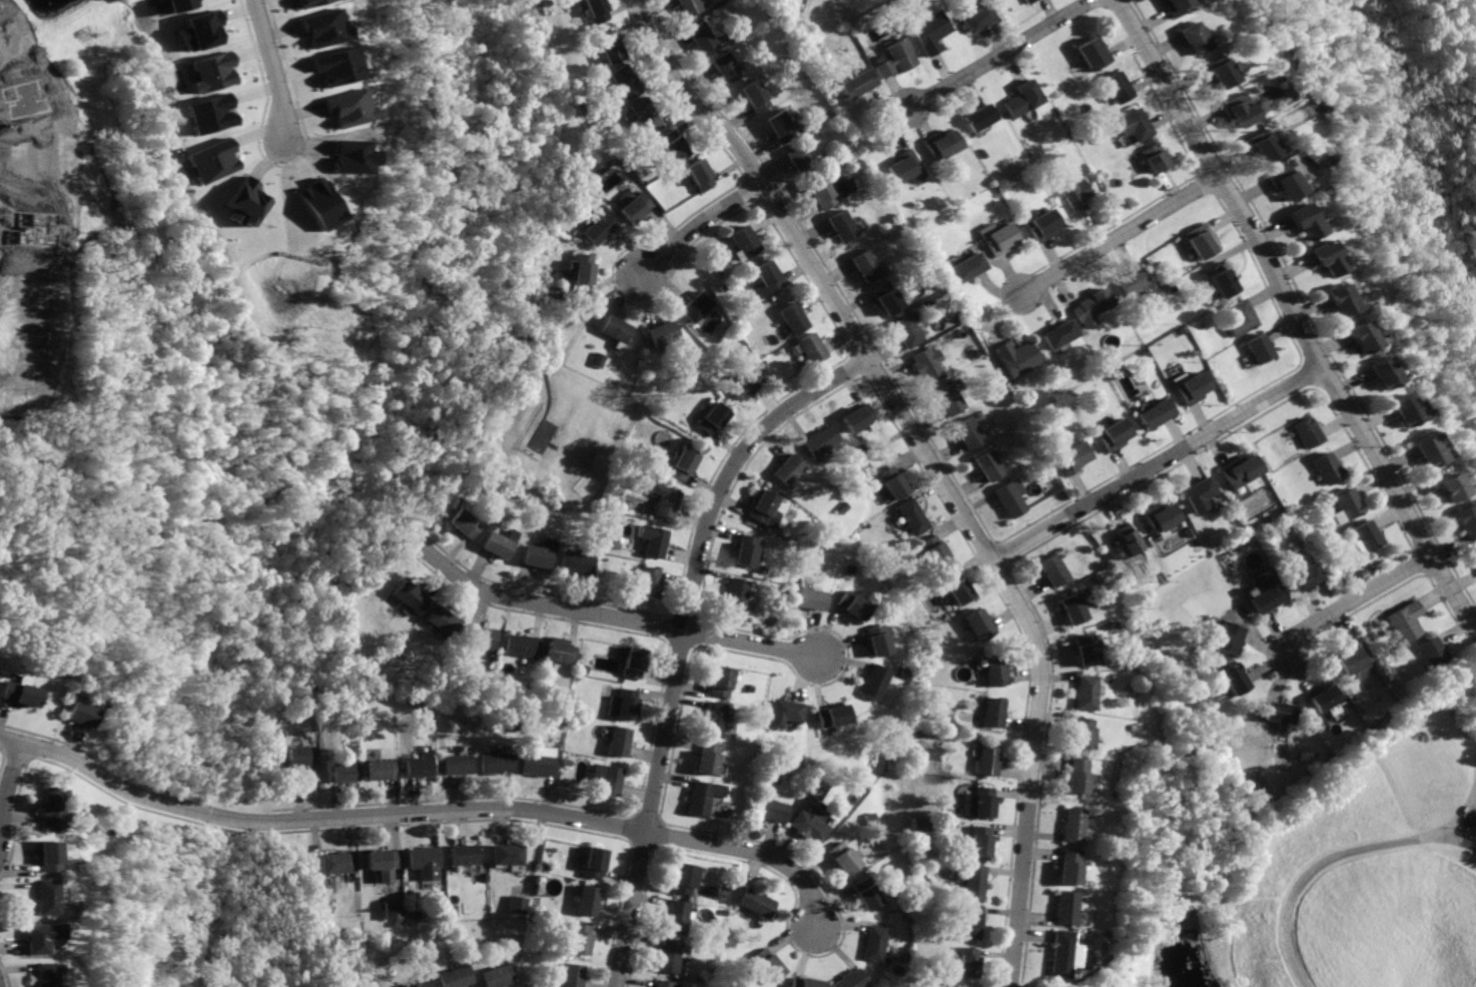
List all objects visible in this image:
building: (1033, 0)
building: (162, 1)
building: (295, 2)
building: (692, 8)
building: (1172, 8)
building: (594, 11)
building: (975, 19)
building: (319, 28)
building: (200, 30)
building: (925, 32)
building: (704, 37)
building: (1190, 39)
road: (1119, 41)
road: (1103, 42)
building: (609, 49)
road: (1000, 53)
building: (1093, 53)
building: (895, 61)
building: (333, 66)
road: (270, 68)
building: (729, 68)
building: (213, 72)
building: (1214, 72)
building: (626, 83)
building: (857, 84)
building: (1116, 89)
road: (672, 95)
building: (757, 98)
building: (1021, 99)
road: (1159, 106)
building: (344, 107)
building: (1235, 111)
building: (213, 113)
building: (648, 116)
building: (977, 118)
building: (1133, 125)
building: (782, 127)
building: (939, 145)
building: (673, 147)
building: (1258, 148)
building: (1155, 159)
building: (803, 161)
building: (207, 163)
building: (906, 169)
building: (701, 176)
road: (741, 179)
building: (1279, 182)
road: (1205, 184)
road: (747, 190)
building: (824, 195)
building: (1076, 197)
road: (752, 201)
building: (246, 202)
building: (313, 206)
building: (636, 207)
road: (1111, 221)
building: (1299, 221)
building: (599, 224)
road: (700, 226)
building: (1040, 226)
building: (843, 227)
road: (1118, 232)
building: (995, 240)
building: (748, 242)
building: (1201, 242)
building: (1318, 257)
road: (826, 266)
building: (867, 266)
building: (965, 268)
building: (581, 270)
road: (805, 273)
building: (767, 281)
road: (1022, 281)
road: (629, 282)
building: (1127, 283)
building: (1218, 283)
road: (613, 289)
building: (887, 298)
building: (1335, 302)
building: (697, 308)
building: (1087, 309)
road: (1299, 309)
building: (794, 319)
road: (1293, 319)
building: (1236, 320)
building: (616, 329)
building: (907, 333)
building: (664, 334)
road: (548, 335)
building: (1056, 335)
building: (1354, 337)
building: (1257, 349)
building: (812, 350)
road: (847, 352)
building: (1013, 357)
building: (597, 359)
road: (855, 363)
building: (925, 366)
building: (1374, 373)
road: (862, 375)
building: (747, 383)
building: (1188, 390)
building: (949, 400)
road: (1226, 404)
building: (1396, 411)
building: (1152, 414)
building: (711, 418)
building: (859, 418)
park: (552, 424)
road: (1238, 424)
building: (969, 432)
building: (1306, 433)
park: (536, 435)
park: (549, 435)
building: (1109, 435)
building: (821, 440)
building: (1422, 451)
road: (721, 456)
building: (1069, 459)
road: (934, 463)
building: (681, 464)
road: (1156, 464)
building: (989, 465)
building: (1323, 468)
building: (788, 469)
road: (739, 470)
building: (1237, 471)
building: (894, 479)
building: (1440, 486)
building: (1198, 493)
building: (1011, 499)
building: (662, 500)
building: (1346, 504)
building: (764, 508)
building: (913, 516)
building: (1158, 519)
building: (1462, 521)
building: (462, 523)
building: (1366, 535)
road: (454, 536)
building: (653, 540)
road: (996, 540)
building: (1124, 542)
building: (497, 545)
road: (451, 549)
building: (745, 549)
building: (935, 550)
road: (1002, 552)
building: (1473, 554)
building: (537, 557)
road: (1415, 559)
building: (576, 562)
building: (1054, 569)
building: (1304, 577)
road: (432, 578)
road: (419, 581)
building: (649, 582)
building: (958, 586)
road: (541, 591)
building: (1266, 591)
building: (735, 594)
road: (1378, 594)
building: (410, 595)
building: (811, 598)
road: (1353, 600)
road: (1440, 600)
building: (853, 604)
building: (1074, 608)
road: (669, 612)
road: (531, 613)
road: (614, 616)
road: (684, 616)
building: (443, 620)
building: (1404, 622)
building: (979, 623)
road: (667, 628)
road: (1341, 628)
road: (1456, 628)
road: (695, 632)
road: (679, 635)
building: (482, 637)
building: (1227, 637)
building: (879, 639)
road: (678, 643)
road: (1338, 644)
road: (1445, 645)
building: (520, 646)
building: (1086, 649)
building: (1432, 651)
building: (560, 653)
building: (1352, 657)
road: (1025, 659)
road: (843, 660)
building: (632, 662)
building: (996, 670)
building: (1235, 679)
building: (721, 681)
building: (875, 683)
building: (1087, 692)
building: (18, 693)
building: (1325, 698)
building: (622, 703)
building: (994, 712)
building: (78, 713)
building: (785, 713)
building: (1278, 713)
building: (834, 715)
building: (712, 719)
road: (65, 728)
road: (649, 728)
road: (673, 731)
building: (1083, 733)
road: (49, 738)
road: (69, 740)
building: (617, 742)
road: (12, 753)
building: (299, 755)
building: (707, 759)
building: (987, 761)
building: (497, 762)
building: (457, 764)
building: (538, 764)
building: (417, 766)
road: (1038, 766)
building: (380, 769)
road: (299, 770)
building: (344, 772)
building: (1076, 776)
building: (607, 778)
building: (818, 787)
road: (298, 792)
road: (6, 795)
building: (703, 797)
road: (449, 798)
road: (1474, 798)
building: (978, 802)
building: (51, 809)
building: (772, 809)
road: (426, 814)
road: (644, 816)
building: (920, 823)
road: (789, 824)
building: (811, 824)
building: (1071, 825)
road: (320, 828)
road: (628, 828)
road: (654, 831)
road: (1449, 838)
building: (980, 840)
road: (639, 843)
road: (1357, 849)
building: (508, 854)
building: (466, 855)
road: (533, 856)
building: (46, 857)
building: (843, 857)
building: (381, 858)
road: (398, 859)
building: (338, 862)
building: (425, 862)
building: (593, 862)
building: (1067, 866)
building: (685, 878)
building: (974, 881)
building: (865, 893)
building: (44, 896)
building: (588, 901)
building: (756, 902)
building: (518, 905)
building: (1062, 907)
building: (393, 910)
road: (615, 914)
road: (637, 915)
building: (677, 917)
building: (969, 921)
road: (1032, 935)
building: (40, 936)
building: (579, 939)
building: (875, 942)
road: (829, 949)
road: (803, 952)
road: (1039, 954)
building: (1058, 954)
building: (669, 955)
building: (966, 962)
building: (767, 965)
road: (805, 972)
building: (43, 975)
building: (574, 976)
building: (457, 977)
building: (498, 977)
building: (848, 980)
building: (803, 982)
building: (664, 984)
building: (423, 985)

